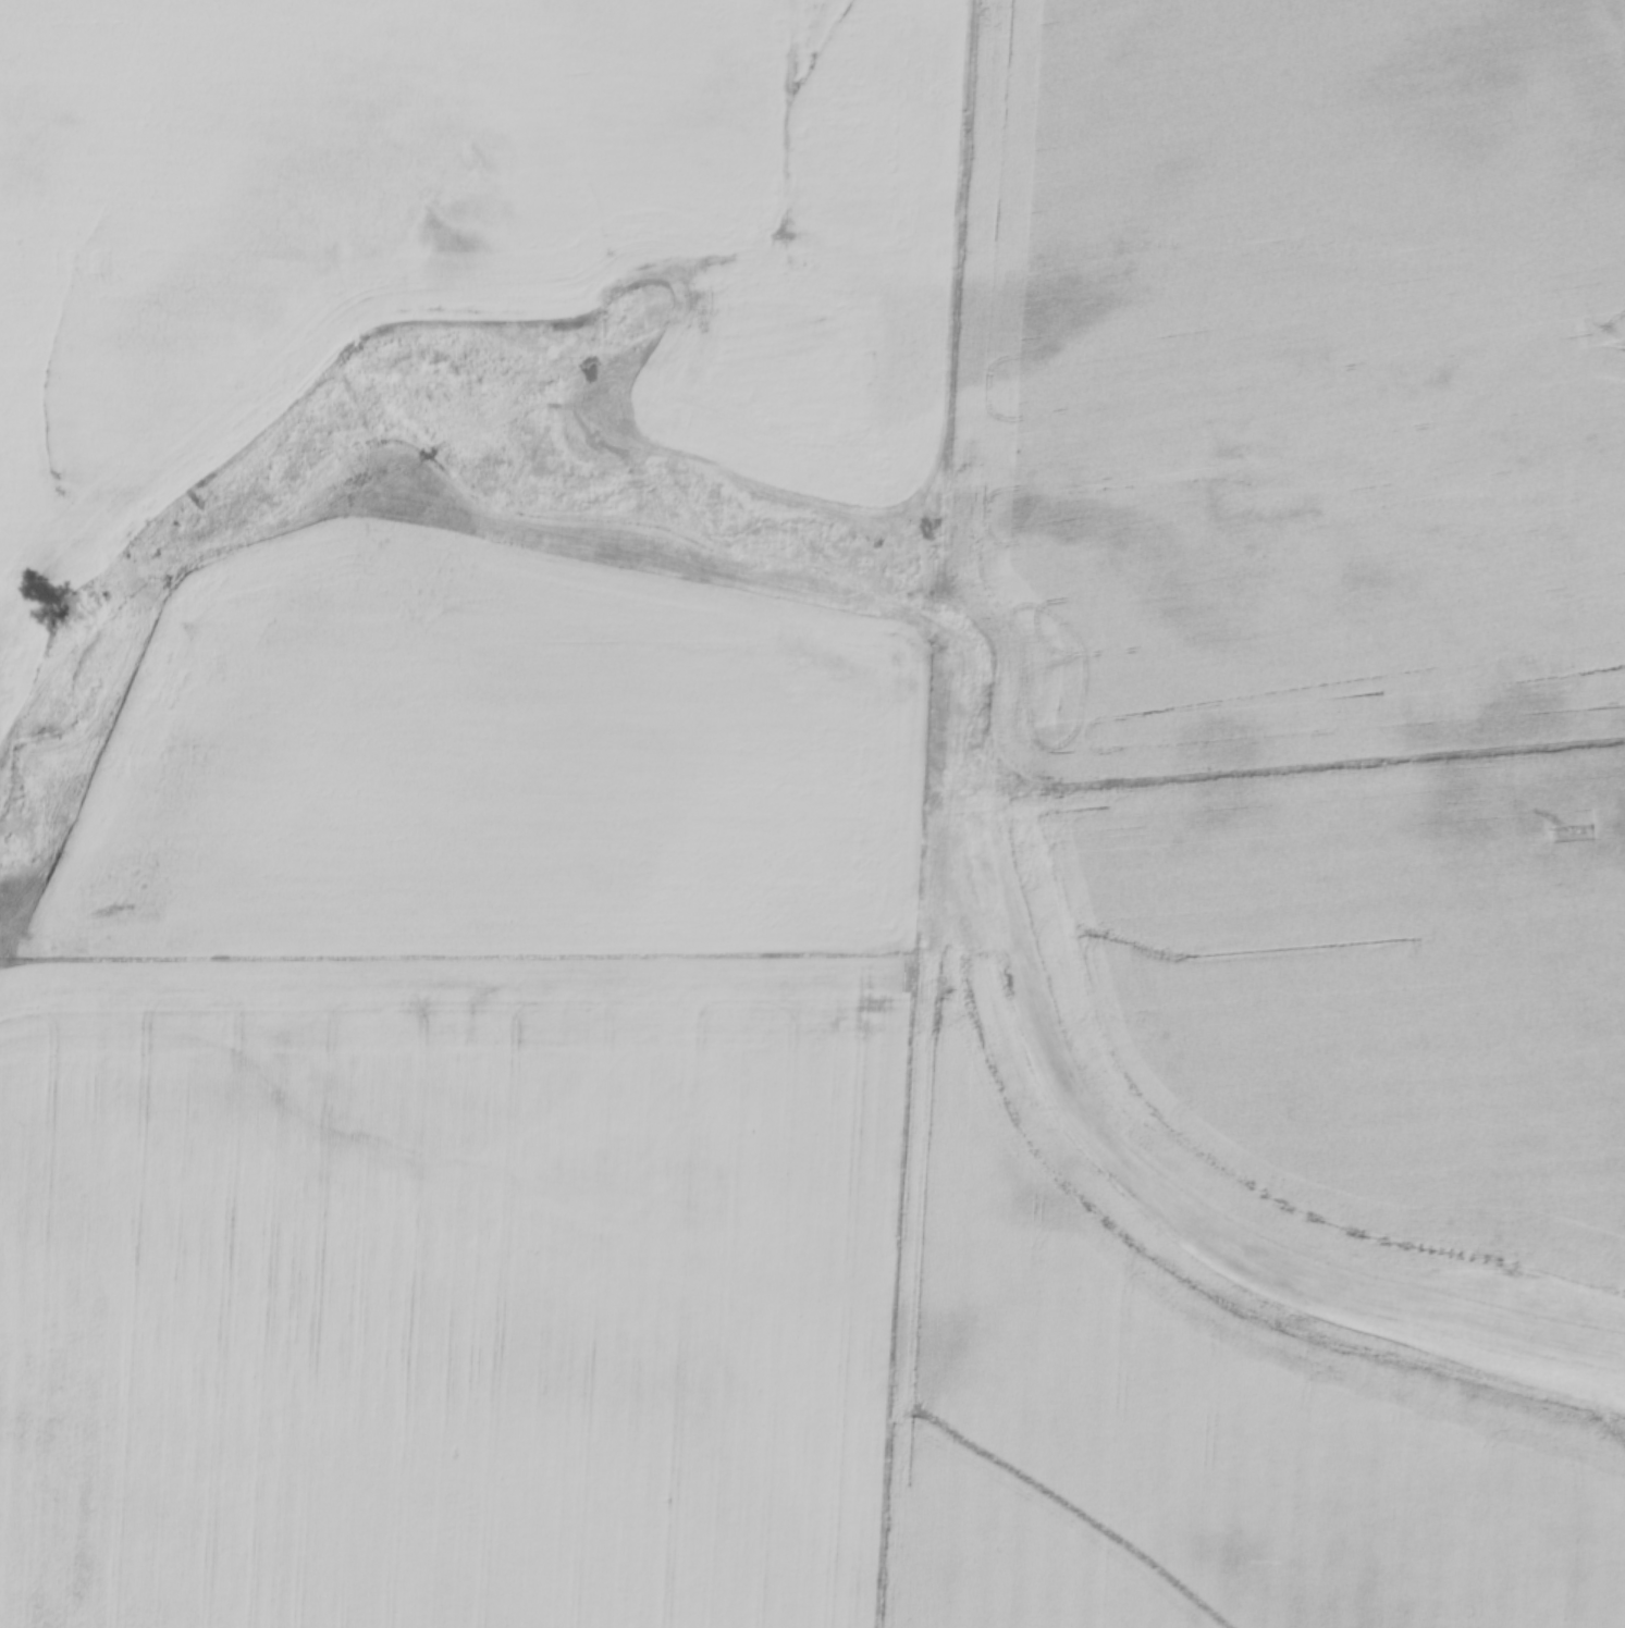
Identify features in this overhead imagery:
crop: (317, 206)
crop: (1288, 384)
crop: (500, 769)
power tower: (1572, 830)
power tower: (1517, 1275)
crop: (443, 1290)

